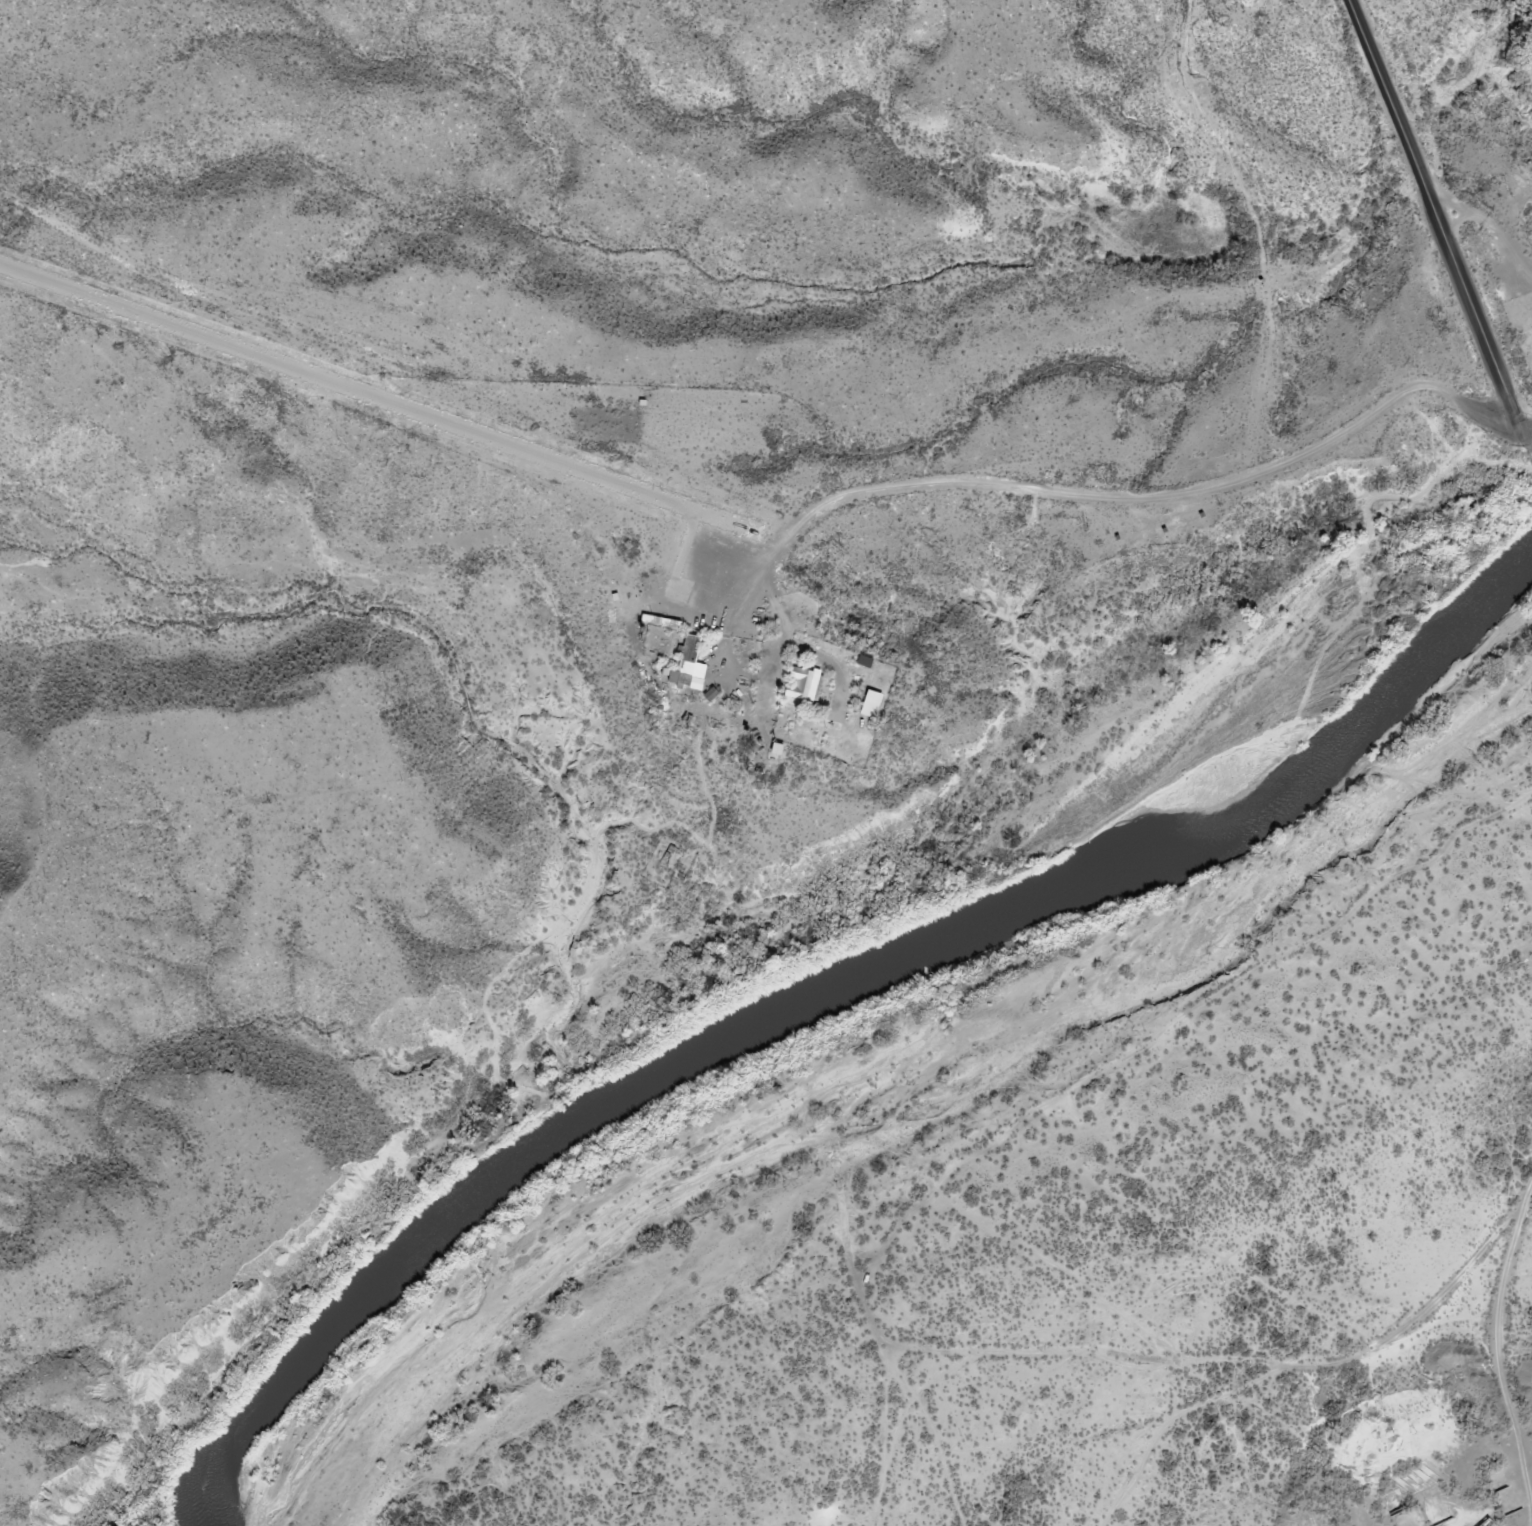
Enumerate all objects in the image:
road: (1442, 224)
road: (1220, 226)
road: (1489, 231)
airport runway: (382, 400)
road: (1529, 455)
road: (1179, 493)
airport apron: (731, 570)
building: (700, 656)
river: (830, 985)

